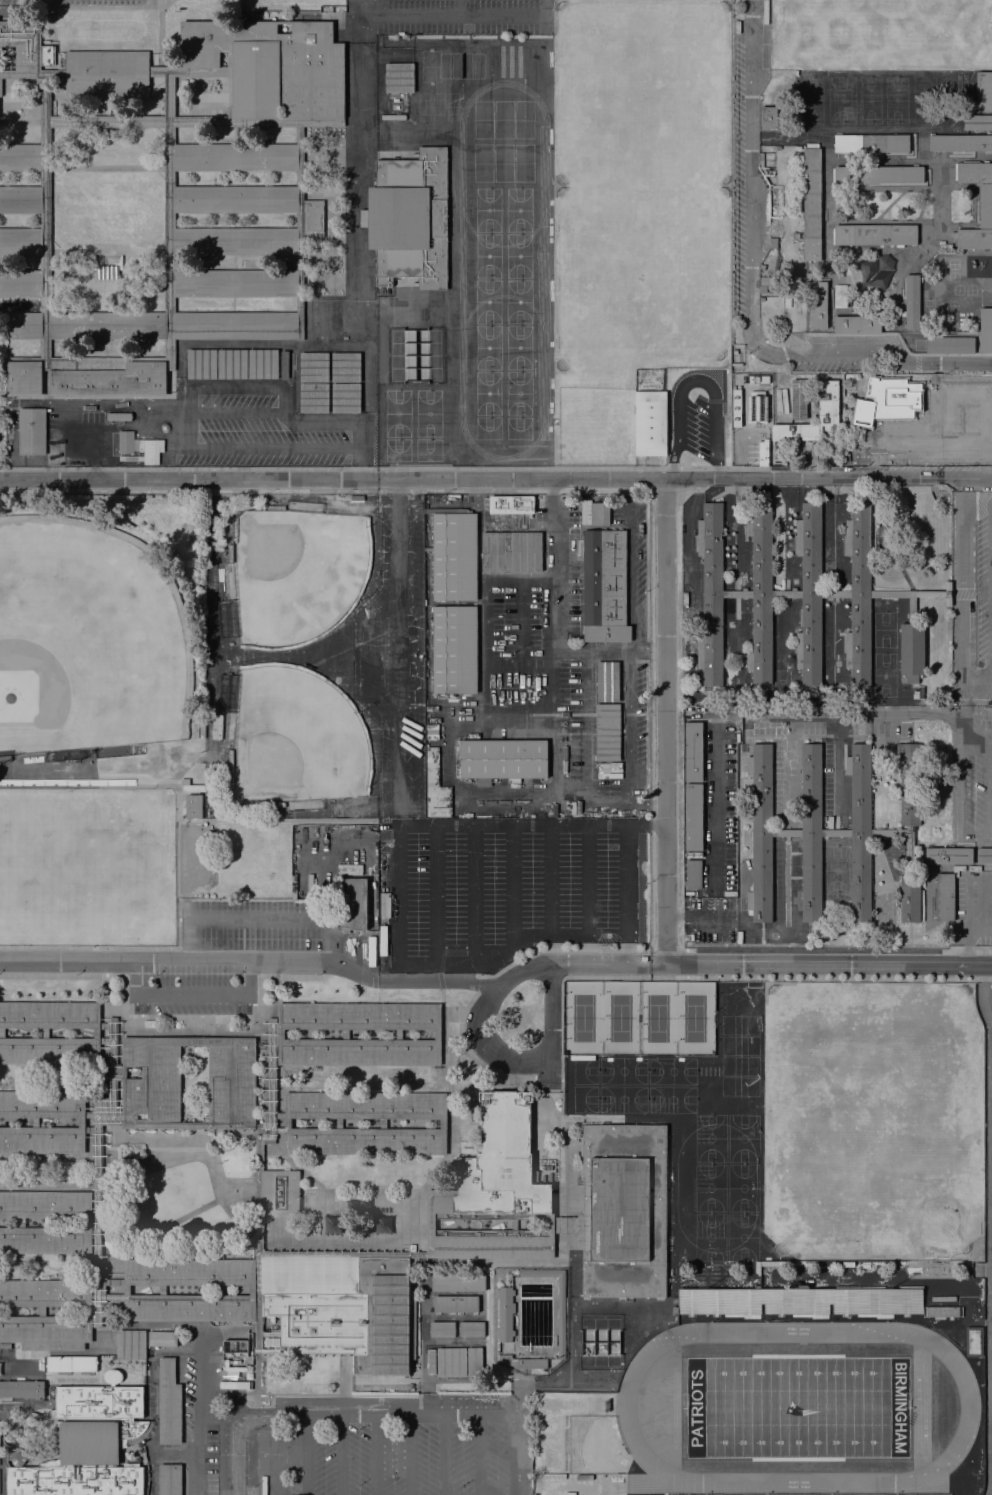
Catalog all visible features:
road: (106, 6)
road: (459, 7)
road: (442, 15)
road: (352, 17)
parking lot: (454, 17)
park: (880, 33)
road: (53, 40)
road: (161, 40)
building: (22, 44)
building: (272, 66)
road: (99, 74)
building: (107, 75)
building: (399, 77)
building: (984, 90)
park: (810, 99)
park: (895, 99)
park: (841, 100)
park: (869, 100)
building: (769, 118)
building: (977, 121)
road: (138, 123)
road: (868, 128)
road: (792, 135)
building: (960, 142)
building: (871, 143)
building: (21, 157)
building: (235, 157)
road: (873, 160)
road: (107, 169)
building: (878, 174)
road: (353, 176)
road: (883, 188)
building: (21, 198)
building: (235, 199)
road: (827, 200)
road: (939, 200)
building: (812, 203)
road: (888, 204)
road: (921, 204)
building: (985, 204)
park: (636, 209)
building: (410, 219)
building: (44, 220)
road: (883, 221)
building: (311, 228)
building: (796, 235)
building: (875, 235)
building: (20, 241)
building: (236, 241)
building: (772, 241)
building: (762, 267)
building: (107, 271)
building: (875, 272)
building: (808, 275)
building: (766, 280)
building: (20, 283)
building: (236, 283)
building: (762, 289)
road: (750, 292)
building: (840, 296)
building: (911, 300)
road: (857, 302)
building: (818, 305)
building: (323, 320)
building: (856, 322)
building: (22, 325)
building: (107, 325)
building: (235, 325)
road: (896, 327)
building: (985, 328)
road: (900, 339)
building: (950, 343)
building: (232, 363)
building: (284, 364)
building: (314, 367)
building: (346, 367)
building: (23, 378)
building: (111, 380)
road: (694, 381)
road: (236, 388)
building: (314, 397)
building: (346, 397)
building: (797, 398)
building: (887, 399)
building: (829, 402)
road: (949, 402)
building: (756, 408)
road: (236, 412)
building: (119, 416)
road: (348, 420)
building: (649, 422)
building: (165, 427)
parking lot: (694, 427)
building: (32, 431)
building: (126, 442)
road: (938, 443)
road: (255, 447)
building: (151, 450)
road: (496, 478)
road: (396, 486)
building: (569, 500)
building: (510, 501)
road: (626, 504)
building: (599, 511)
building: (511, 550)
road: (891, 553)
building: (454, 554)
parking lot: (636, 562)
road: (630, 570)
road: (211, 571)
park: (294, 572)
building: (604, 585)
road: (990, 588)
building: (785, 593)
road: (970, 593)
building: (913, 596)
road: (961, 605)
road: (554, 625)
road: (635, 629)
park: (883, 629)
park: (83, 642)
building: (455, 649)
road: (649, 649)
building: (910, 650)
road: (401, 651)
road: (368, 655)
road: (289, 657)
parking lot: (394, 657)
parking lot: (552, 660)
park: (883, 674)
building: (607, 681)
park: (780, 681)
road: (881, 713)
road: (665, 721)
road: (629, 725)
building: (217, 726)
building: (202, 727)
building: (608, 732)
park: (294, 738)
building: (693, 751)
building: (4, 756)
building: (501, 757)
road: (561, 784)
building: (435, 786)
road: (175, 789)
road: (651, 789)
road: (647, 804)
building: (194, 806)
building: (694, 816)
road: (422, 823)
building: (832, 831)
road: (962, 831)
building: (694, 854)
building: (984, 854)
building: (949, 855)
park: (86, 865)
building: (694, 874)
road: (549, 878)
road: (588, 878)
road: (512, 883)
road: (627, 883)
parking lot: (504, 887)
road: (435, 893)
road: (474, 893)
building: (943, 896)
building: (354, 903)
building: (384, 904)
road: (259, 919)
parking lot: (709, 919)
road: (974, 923)
parking lot: (257, 927)
road: (547, 933)
building: (382, 939)
road: (88, 946)
road: (966, 949)
road: (813, 950)
road: (626, 953)
road: (164, 958)
road: (686, 962)
road: (771, 964)
road: (61, 974)
road: (726, 976)
road: (441, 980)
parking lot: (191, 989)
road: (192, 994)
road: (358, 997)
building: (49, 1013)
building: (357, 1015)
park: (638, 1017)
building: (2, 1031)
road: (57, 1031)
road: (168, 1031)
building: (45, 1032)
road: (359, 1032)
building: (345, 1033)
building: (398, 1033)
building: (436, 1034)
building: (193, 1039)
building: (49, 1050)
building: (358, 1051)
road: (449, 1059)
road: (529, 1060)
road: (483, 1066)
building: (151, 1078)
building: (231, 1079)
building: (42, 1104)
building: (364, 1104)
park: (872, 1120)
building: (35, 1122)
road: (50, 1122)
building: (287, 1122)
building: (339, 1122)
road: (359, 1122)
building: (383, 1122)
building: (443, 1122)
road: (140, 1125)
building: (365, 1139)
building: (42, 1140)
road: (270, 1149)
road: (202, 1156)
building: (500, 1165)
building: (104, 1174)
road: (406, 1185)
building: (290, 1194)
park: (182, 1195)
building: (46, 1204)
building: (623, 1210)
road: (100, 1217)
road: (181, 1218)
building: (561, 1220)
road: (50, 1222)
building: (515, 1224)
road: (560, 1238)
building: (45, 1240)
building: (494, 1242)
road: (424, 1253)
building: (188, 1271)
road: (258, 1274)
building: (458, 1281)
building: (162, 1288)
road: (179, 1289)
building: (45, 1292)
building: (800, 1299)
building: (456, 1304)
building: (188, 1306)
building: (344, 1307)
building: (41, 1310)
road: (50, 1311)
road: (571, 1312)
building: (942, 1312)
building: (504, 1313)
building: (561, 1316)
building: (442, 1329)
building: (472, 1329)
building: (46, 1330)
building: (162, 1337)
building: (974, 1341)
building: (130, 1343)
building: (234, 1348)
building: (505, 1357)
building: (451, 1361)
building: (474, 1361)
building: (71, 1362)
building: (531, 1363)
road: (344, 1373)
building: (21, 1388)
building: (168, 1402)
park: (796, 1406)
track: (797, 1406)
road: (256, 1413)
road: (335, 1415)
road: (231, 1420)
parking lot: (199, 1431)
road: (197, 1433)
building: (89, 1443)
road: (149, 1444)
road: (265, 1448)
road: (152, 1452)
parking lot: (398, 1452)
road: (307, 1455)
road: (340, 1455)
road: (376, 1455)
road: (410, 1455)
road: (443, 1455)
road: (479, 1455)
road: (513, 1455)
building: (17, 1456)
road: (256, 1461)
building: (170, 1479)
building: (809, 1494)

